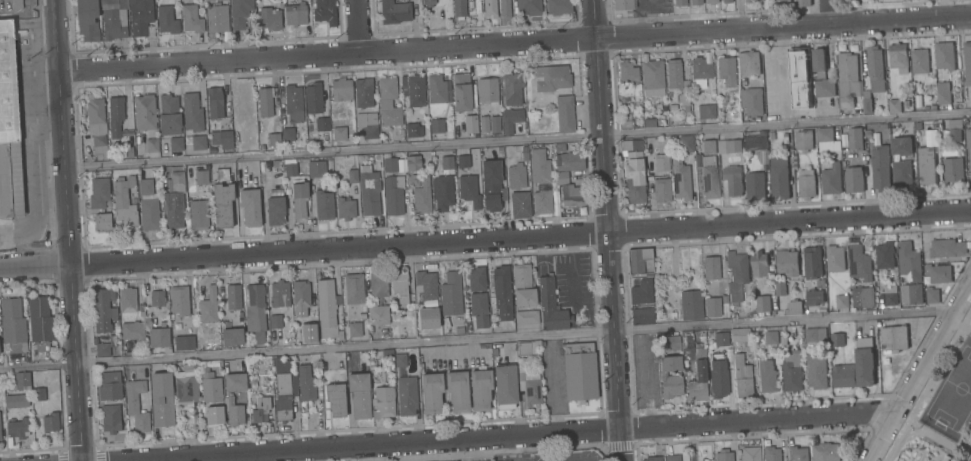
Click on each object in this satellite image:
building: (212, 0)
building: (749, 0)
building: (773, 0)
building: (726, 1)
building: (679, 2)
building: (428, 3)
building: (710, 3)
building: (803, 3)
building: (16, 4)
building: (623, 4)
building: (695, 4)
building: (528, 7)
building: (558, 7)
building: (489, 8)
building: (504, 8)
building: (458, 9)
building: (239, 12)
building: (325, 12)
building: (394, 12)
road: (827, 13)
building: (295, 15)
building: (140, 16)
road: (640, 17)
building: (191, 19)
building: (216, 19)
building: (87, 20)
building: (166, 20)
building: (269, 20)
building: (114, 24)
road: (358, 27)
road: (514, 43)
building: (945, 55)
building: (899, 57)
building: (819, 60)
building: (920, 61)
building: (967, 62)
building: (748, 63)
building: (875, 68)
building: (700, 69)
building: (726, 71)
building: (627, 72)
building: (801, 77)
building: (551, 78)
building: (652, 78)
building: (848, 79)
building: (676, 81)
building: (511, 87)
building: (824, 88)
building: (341, 89)
building: (437, 89)
building: (413, 90)
building: (487, 90)
building: (461, 92)
building: (363, 93)
building: (866, 93)
building: (943, 93)
building: (313, 98)
building: (752, 101)
building: (264, 102)
building: (215, 103)
building: (388, 103)
building: (293, 104)
building: (867, 105)
building: (894, 105)
building: (933, 107)
building: (685, 109)
building: (706, 111)
building: (144, 112)
building: (191, 113)
building: (564, 114)
building: (115, 115)
building: (169, 115)
building: (512, 116)
building: (470, 121)
building: (649, 122)
building: (322, 124)
building: (483, 124)
building: (494, 124)
building: (625, 124)
building: (918, 124)
building: (934, 124)
building: (367, 125)
building: (436, 125)
building: (96, 127)
building: (883, 127)
building: (9, 128)
building: (413, 130)
building: (953, 130)
building: (338, 133)
building: (868, 133)
building: (289, 135)
building: (855, 138)
building: (221, 139)
building: (273, 139)
building: (827, 140)
road: (518, 141)
building: (804, 141)
building: (756, 142)
building: (198, 143)
building: (968, 143)
building: (175, 144)
building: (685, 144)
building: (151, 145)
building: (625, 145)
building: (708, 146)
building: (729, 146)
building: (902, 146)
building: (559, 147)
building: (500, 150)
building: (128, 154)
building: (796, 155)
building: (524, 156)
building: (463, 161)
building: (569, 162)
building: (661, 162)
building: (413, 164)
building: (389, 165)
building: (446, 165)
building: (927, 166)
building: (880, 167)
building: (316, 169)
building: (953, 169)
building: (290, 170)
building: (902, 174)
building: (352, 176)
building: (516, 176)
building: (779, 176)
building: (201, 177)
building: (633, 177)
building: (831, 179)
building: (541, 180)
building: (680, 180)
building: (733, 180)
building: (854, 180)
building: (413, 181)
building: (709, 181)
building: (492, 185)
building: (278, 186)
building: (755, 186)
building: (807, 186)
building: (469, 190)
building: (661, 190)
building: (570, 192)
building: (98, 193)
building: (369, 193)
building: (442, 193)
building: (421, 196)
building: (393, 197)
building: (299, 199)
building: (222, 200)
building: (174, 201)
building: (124, 202)
building: (519, 205)
building: (148, 206)
building: (323, 206)
building: (250, 207)
building: (345, 208)
building: (275, 211)
building: (198, 214)
road: (34, 217)
building: (102, 222)
road: (69, 230)
road: (606, 230)
road: (485, 239)
building: (946, 250)
building: (884, 255)
building: (835, 258)
building: (926, 260)
building: (639, 262)
building: (787, 262)
building: (813, 262)
building: (859, 263)
building: (908, 263)
building: (760, 264)
building: (711, 268)
road: (572, 271)
building: (939, 273)
building: (736, 275)
building: (476, 279)
building: (820, 283)
building: (426, 284)
building: (378, 285)
building: (522, 285)
building: (400, 286)
building: (780, 288)
building: (354, 289)
building: (641, 292)
building: (502, 293)
building: (279, 294)
building: (451, 294)
building: (911, 294)
building: (890, 295)
building: (932, 295)
building: (300, 296)
building: (233, 297)
building: (814, 297)
building: (863, 297)
building: (156, 298)
building: (724, 299)
building: (127, 300)
building: (179, 300)
building: (842, 302)
building: (763, 303)
building: (691, 305)
building: (550, 306)
building: (208, 307)
building: (712, 307)
building: (140, 308)
building: (794, 308)
building: (103, 309)
building: (478, 309)
building: (327, 310)
building: (255, 312)
building: (412, 315)
building: (378, 316)
building: (642, 316)
building: (526, 317)
building: (428, 318)
building: (275, 322)
building: (40, 323)
building: (116, 326)
building: (12, 328)
building: (310, 330)
building: (355, 330)
building: (459, 330)
building: (132, 331)
building: (739, 335)
building: (158, 336)
building: (231, 336)
building: (771, 337)
building: (817, 337)
road: (477, 339)
building: (720, 339)
building: (894, 339)
building: (297, 340)
building: (837, 340)
building: (183, 343)
building: (672, 343)
building: (129, 347)
building: (527, 348)
building: (102, 349)
building: (400, 360)
building: (865, 361)
building: (522, 365)
building: (694, 367)
building: (420, 370)
building: (816, 371)
road: (917, 371)
building: (579, 372)
building: (792, 372)
building: (843, 375)
building: (767, 376)
building: (670, 377)
building: (741, 377)
building: (718, 378)
building: (284, 379)
building: (22, 382)
building: (234, 382)
building: (252, 382)
building: (209, 384)
building: (306, 384)
building: (186, 385)
building: (109, 386)
building: (505, 386)
building: (480, 389)
building: (457, 391)
building: (431, 392)
building: (532, 392)
building: (39, 394)
building: (359, 395)
building: (406, 396)
building: (161, 399)
building: (335, 399)
building: (16, 402)
building: (383, 403)
building: (136, 406)
park: (940, 407)
building: (261, 410)
building: (234, 413)
building: (214, 415)
building: (283, 415)
building: (110, 418)
building: (50, 423)
building: (18, 428)
road: (515, 434)
building: (0, 436)
building: (826, 452)
building: (797, 453)
building: (750, 454)
building: (771, 454)
building: (723, 455)
building: (653, 458)
building: (671, 458)
building: (490, 460)

